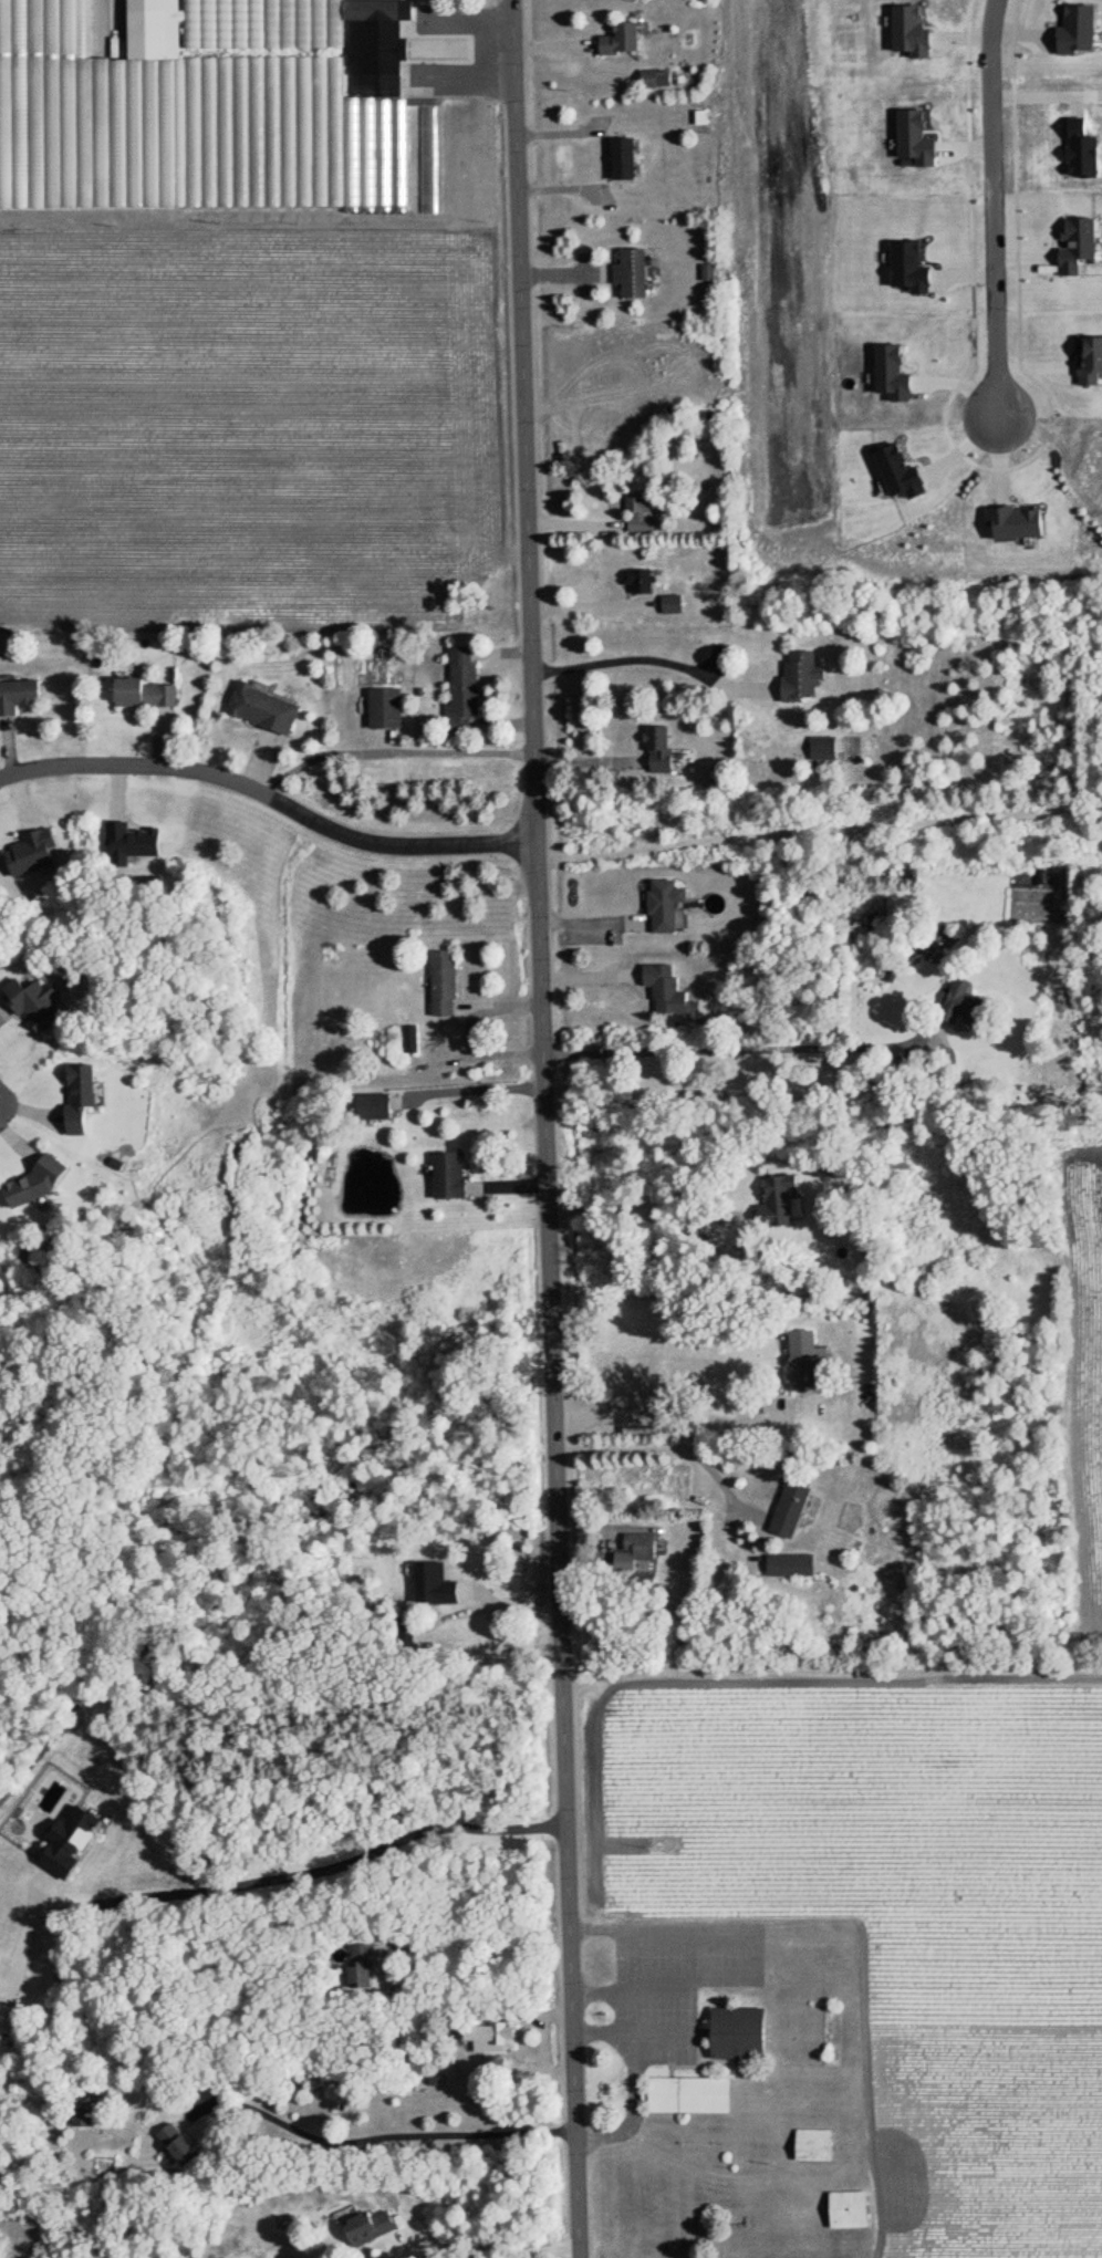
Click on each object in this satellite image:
building: (621, 39)
building: (217, 111)
building: (622, 159)
road: (999, 209)
building: (631, 273)
building: (640, 512)
building: (640, 581)
building: (672, 604)
road: (589, 611)
road: (654, 659)
building: (800, 675)
building: (143, 693)
building: (461, 693)
building: (18, 696)
building: (384, 708)
building: (262, 709)
building: (823, 748)
building: (658, 750)
road: (392, 752)
road: (270, 795)
road: (819, 832)
building: (665, 905)
building: (443, 985)
building: (667, 990)
building: (34, 1002)
building: (960, 1006)
road: (470, 1033)
building: (409, 1039)
road: (762, 1050)
road: (472, 1092)
building: (373, 1106)
road: (547, 1128)
building: (448, 1176)
road: (654, 1201)
building: (778, 1203)
building: (804, 1360)
road: (672, 1414)
road: (672, 1451)
building: (788, 1509)
building: (640, 1548)
building: (790, 1564)
building: (405, 1633)
building: (485, 1643)
road: (312, 1880)
road: (664, 1931)
road: (477, 1942)
building: (360, 1966)
road: (661, 1979)
road: (632, 2035)
building: (737, 2035)
building: (490, 2038)
building: (688, 2095)
road: (635, 2108)
building: (82, 2119)
road: (381, 2137)
building: (177, 2145)
building: (812, 2145)
building: (848, 2208)
building: (368, 2226)
road: (495, 2251)

